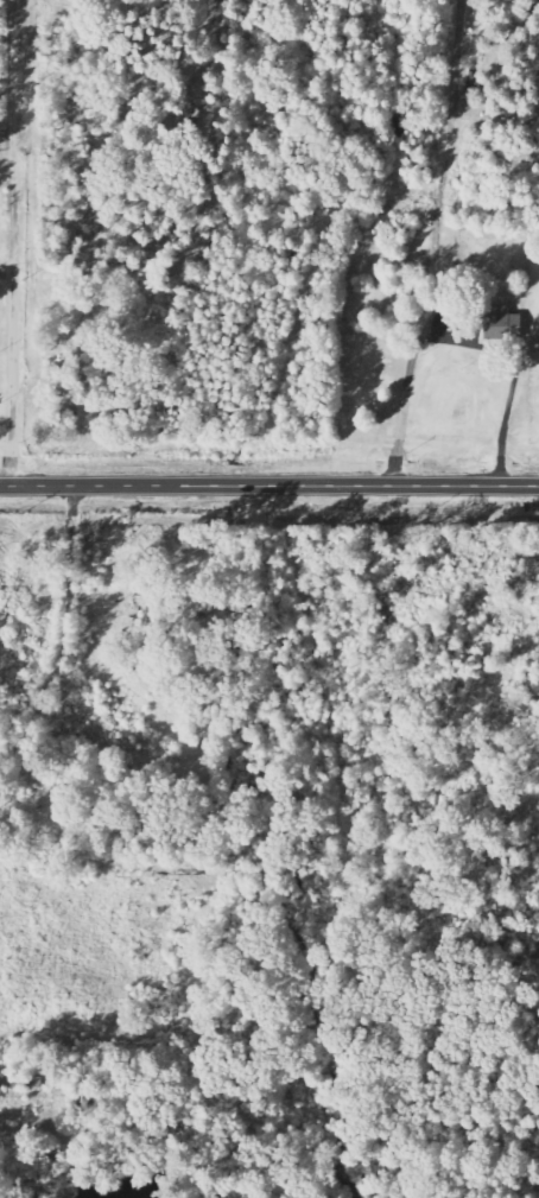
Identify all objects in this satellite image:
road: (458, 46)
road: (437, 291)
road: (13, 318)
building: (501, 323)
road: (269, 486)
road: (64, 634)

